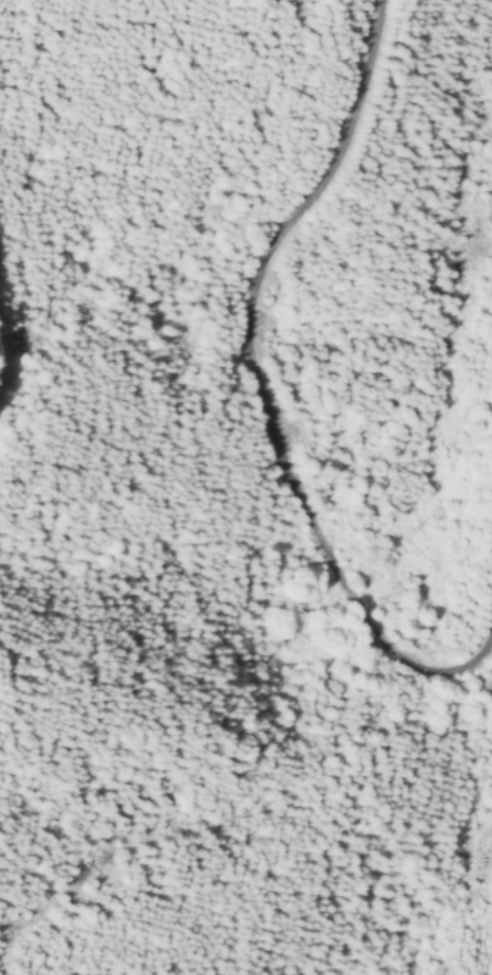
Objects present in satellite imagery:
road: (259, 390)

